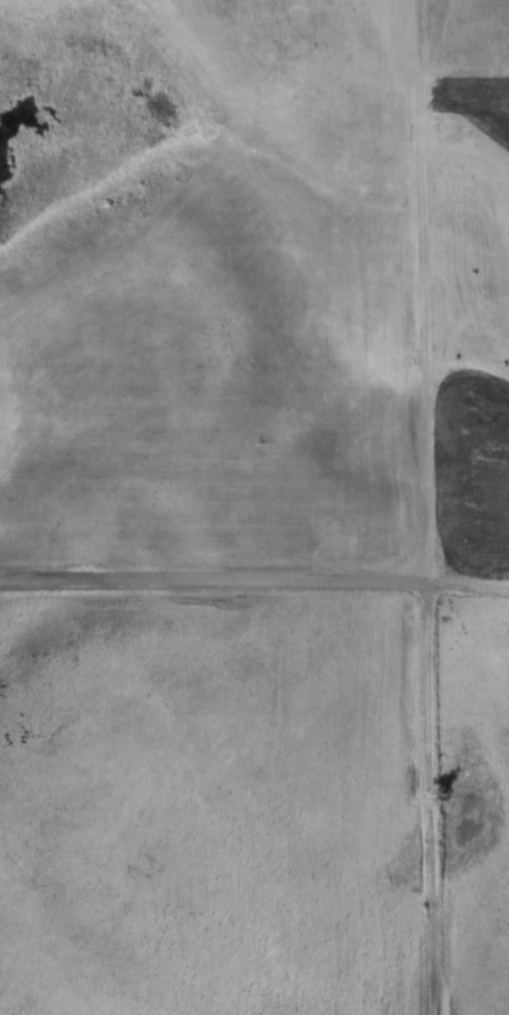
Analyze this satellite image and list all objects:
road: (437, 507)
road: (216, 579)
road: (471, 582)

